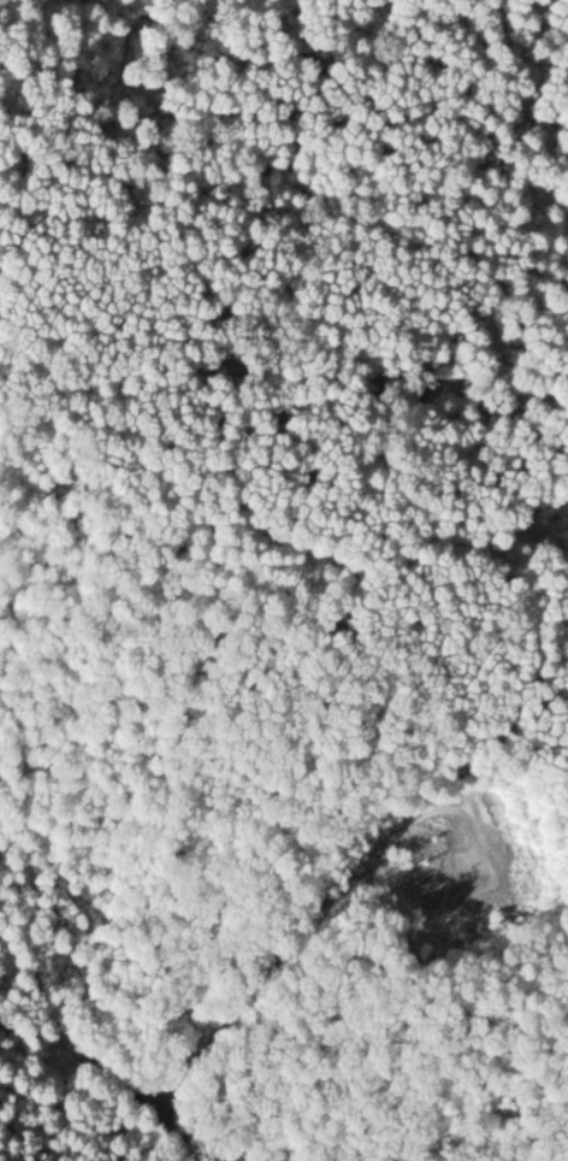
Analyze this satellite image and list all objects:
road: (97, 1062)

